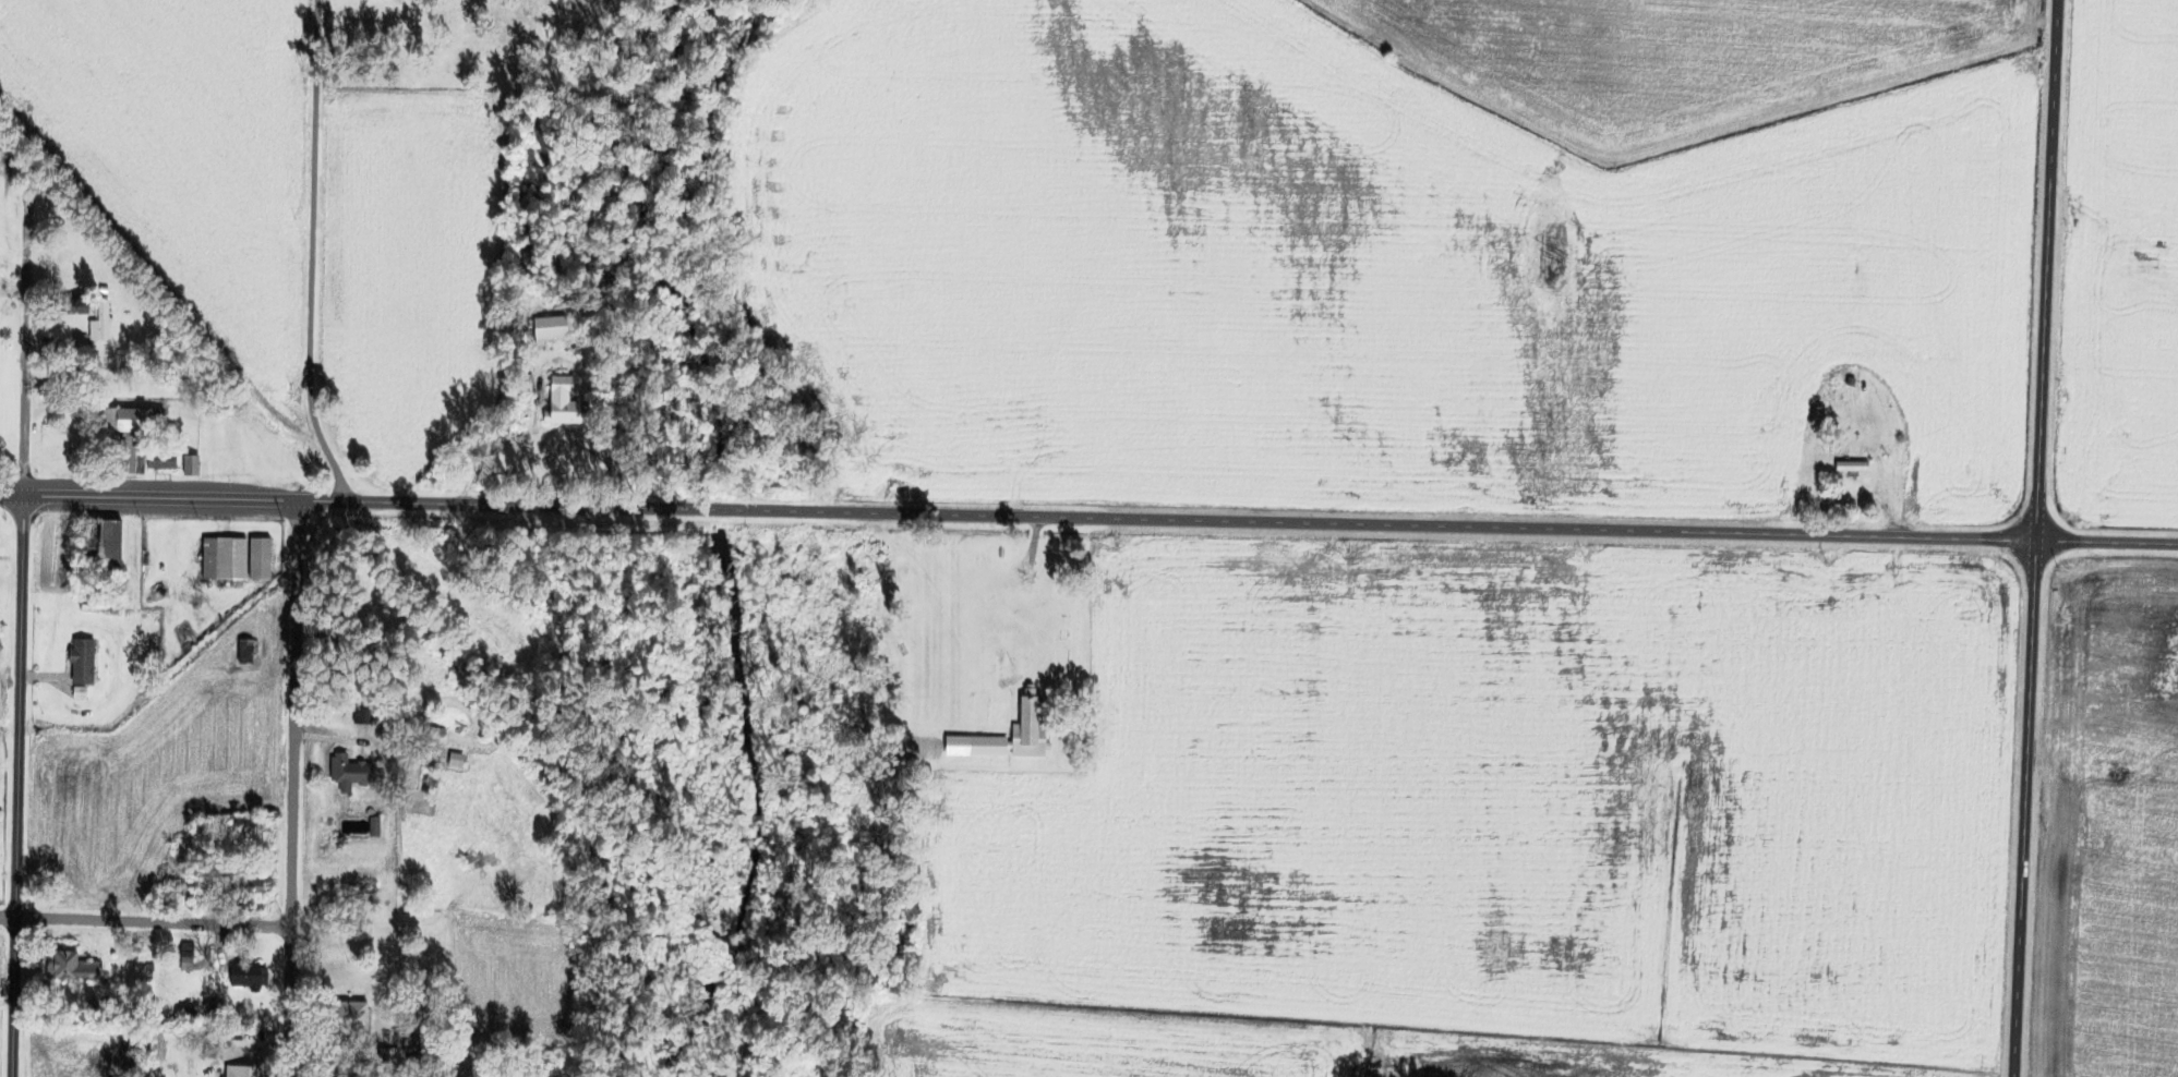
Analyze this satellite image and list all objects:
crop: (181, 144)
road: (313, 256)
crop: (413, 275)
road: (159, 276)
road: (13, 288)
building: (104, 289)
building: (71, 308)
building: (547, 319)
building: (101, 324)
road: (50, 340)
building: (82, 341)
road: (25, 342)
building: (60, 375)
building: (529, 382)
building: (566, 404)
road: (605, 422)
building: (133, 436)
building: (164, 462)
building: (192, 467)
building: (1850, 467)
road: (363, 503)
road: (1453, 527)
road: (2035, 537)
building: (103, 553)
building: (226, 560)
building: (261, 560)
building: (248, 652)
building: (84, 663)
road: (51, 676)
crop: (1, 693)
building: (81, 693)
building: (365, 716)
building: (1025, 728)
building: (460, 730)
building: (435, 736)
road: (337, 737)
building: (388, 737)
building: (984, 748)
building: (458, 761)
crop: (167, 766)
building: (350, 773)
road: (17, 786)
road: (296, 789)
building: (376, 828)
building: (244, 888)
building: (179, 892)
building: (185, 892)
road: (146, 922)
road: (347, 929)
road: (218, 947)
road: (206, 956)
building: (188, 957)
crop: (1, 961)
building: (151, 968)
building: (75, 969)
building: (250, 978)
crop: (516, 981)
road: (7, 1000)
building: (131, 1007)
building: (93, 1014)
road: (321, 1014)
building: (351, 1021)
building: (214, 1045)
road: (264, 1055)
building: (384, 1057)
building: (244, 1073)
road: (362, 1076)

